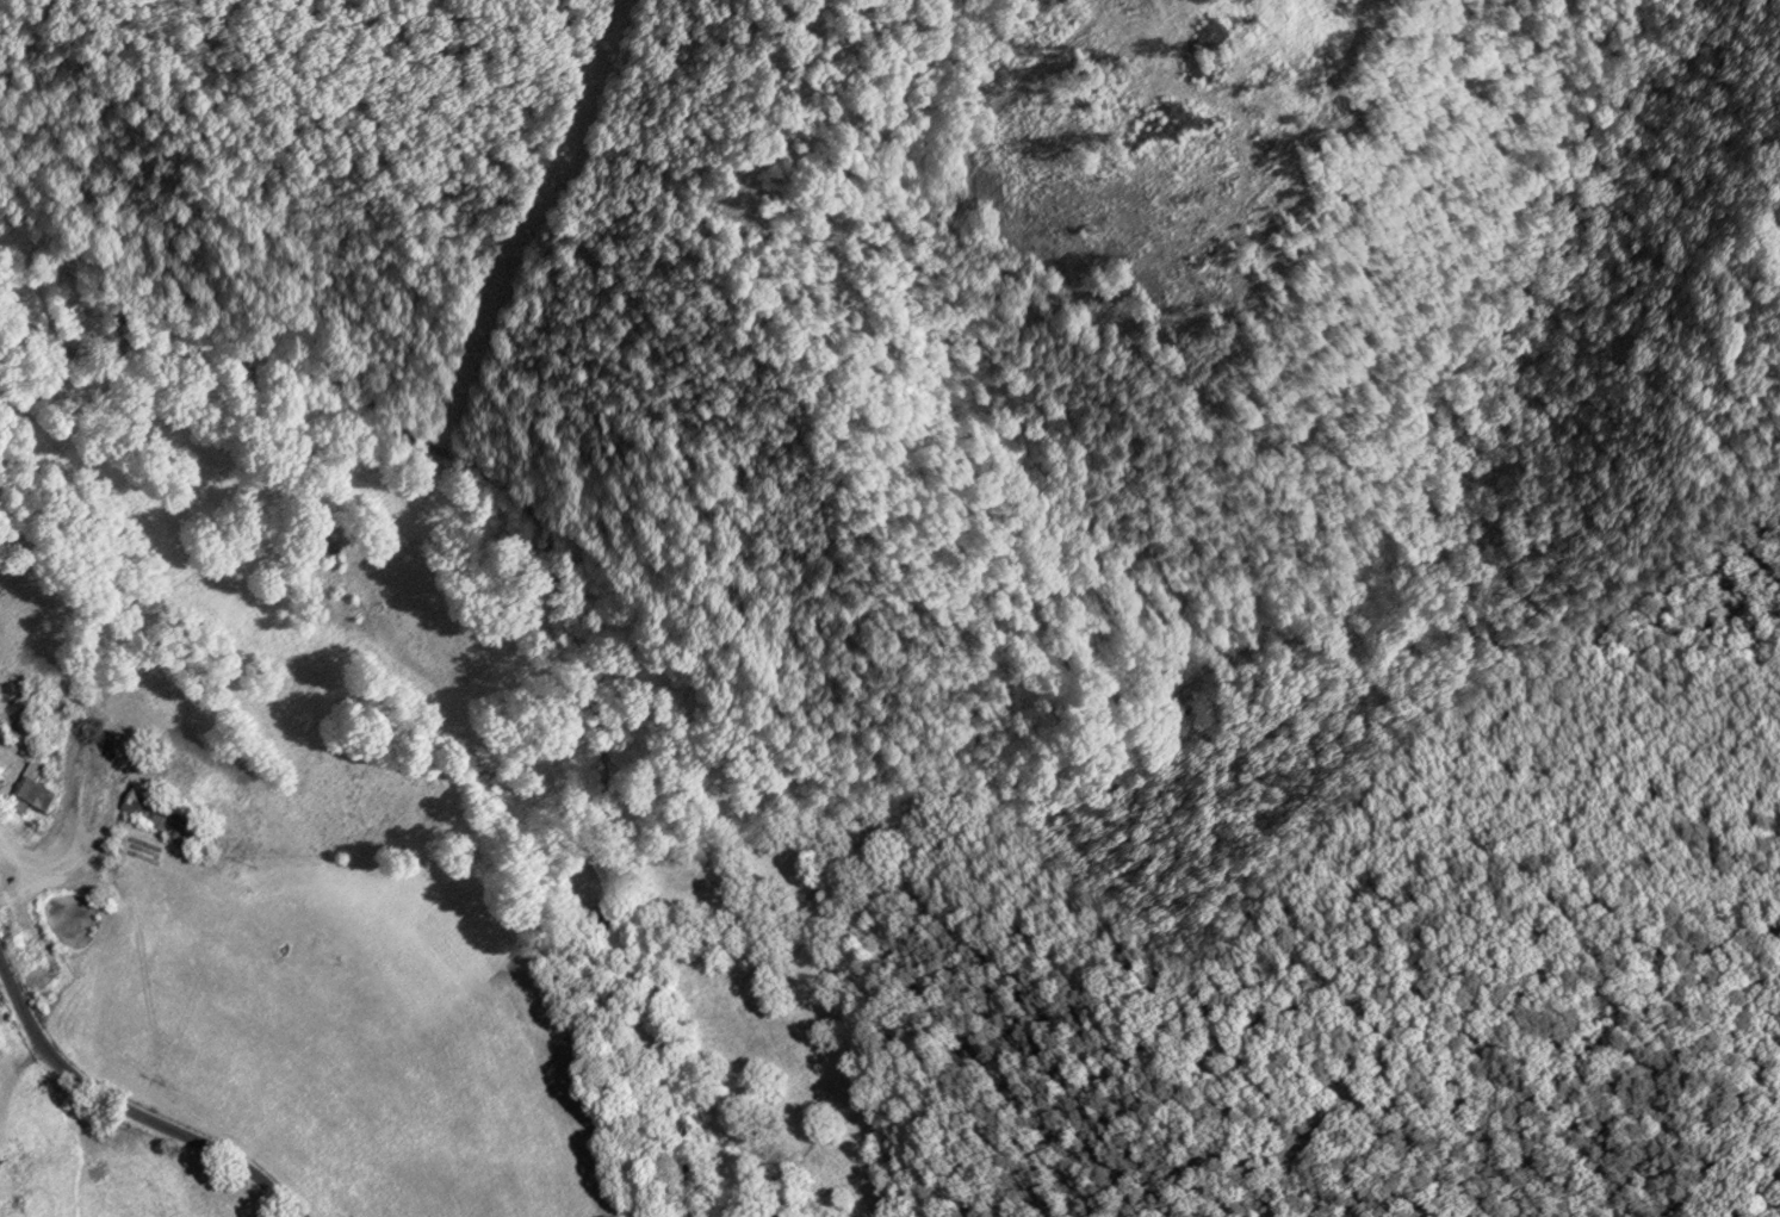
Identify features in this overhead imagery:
building: (30, 791)
building: (162, 820)
road: (134, 1111)

